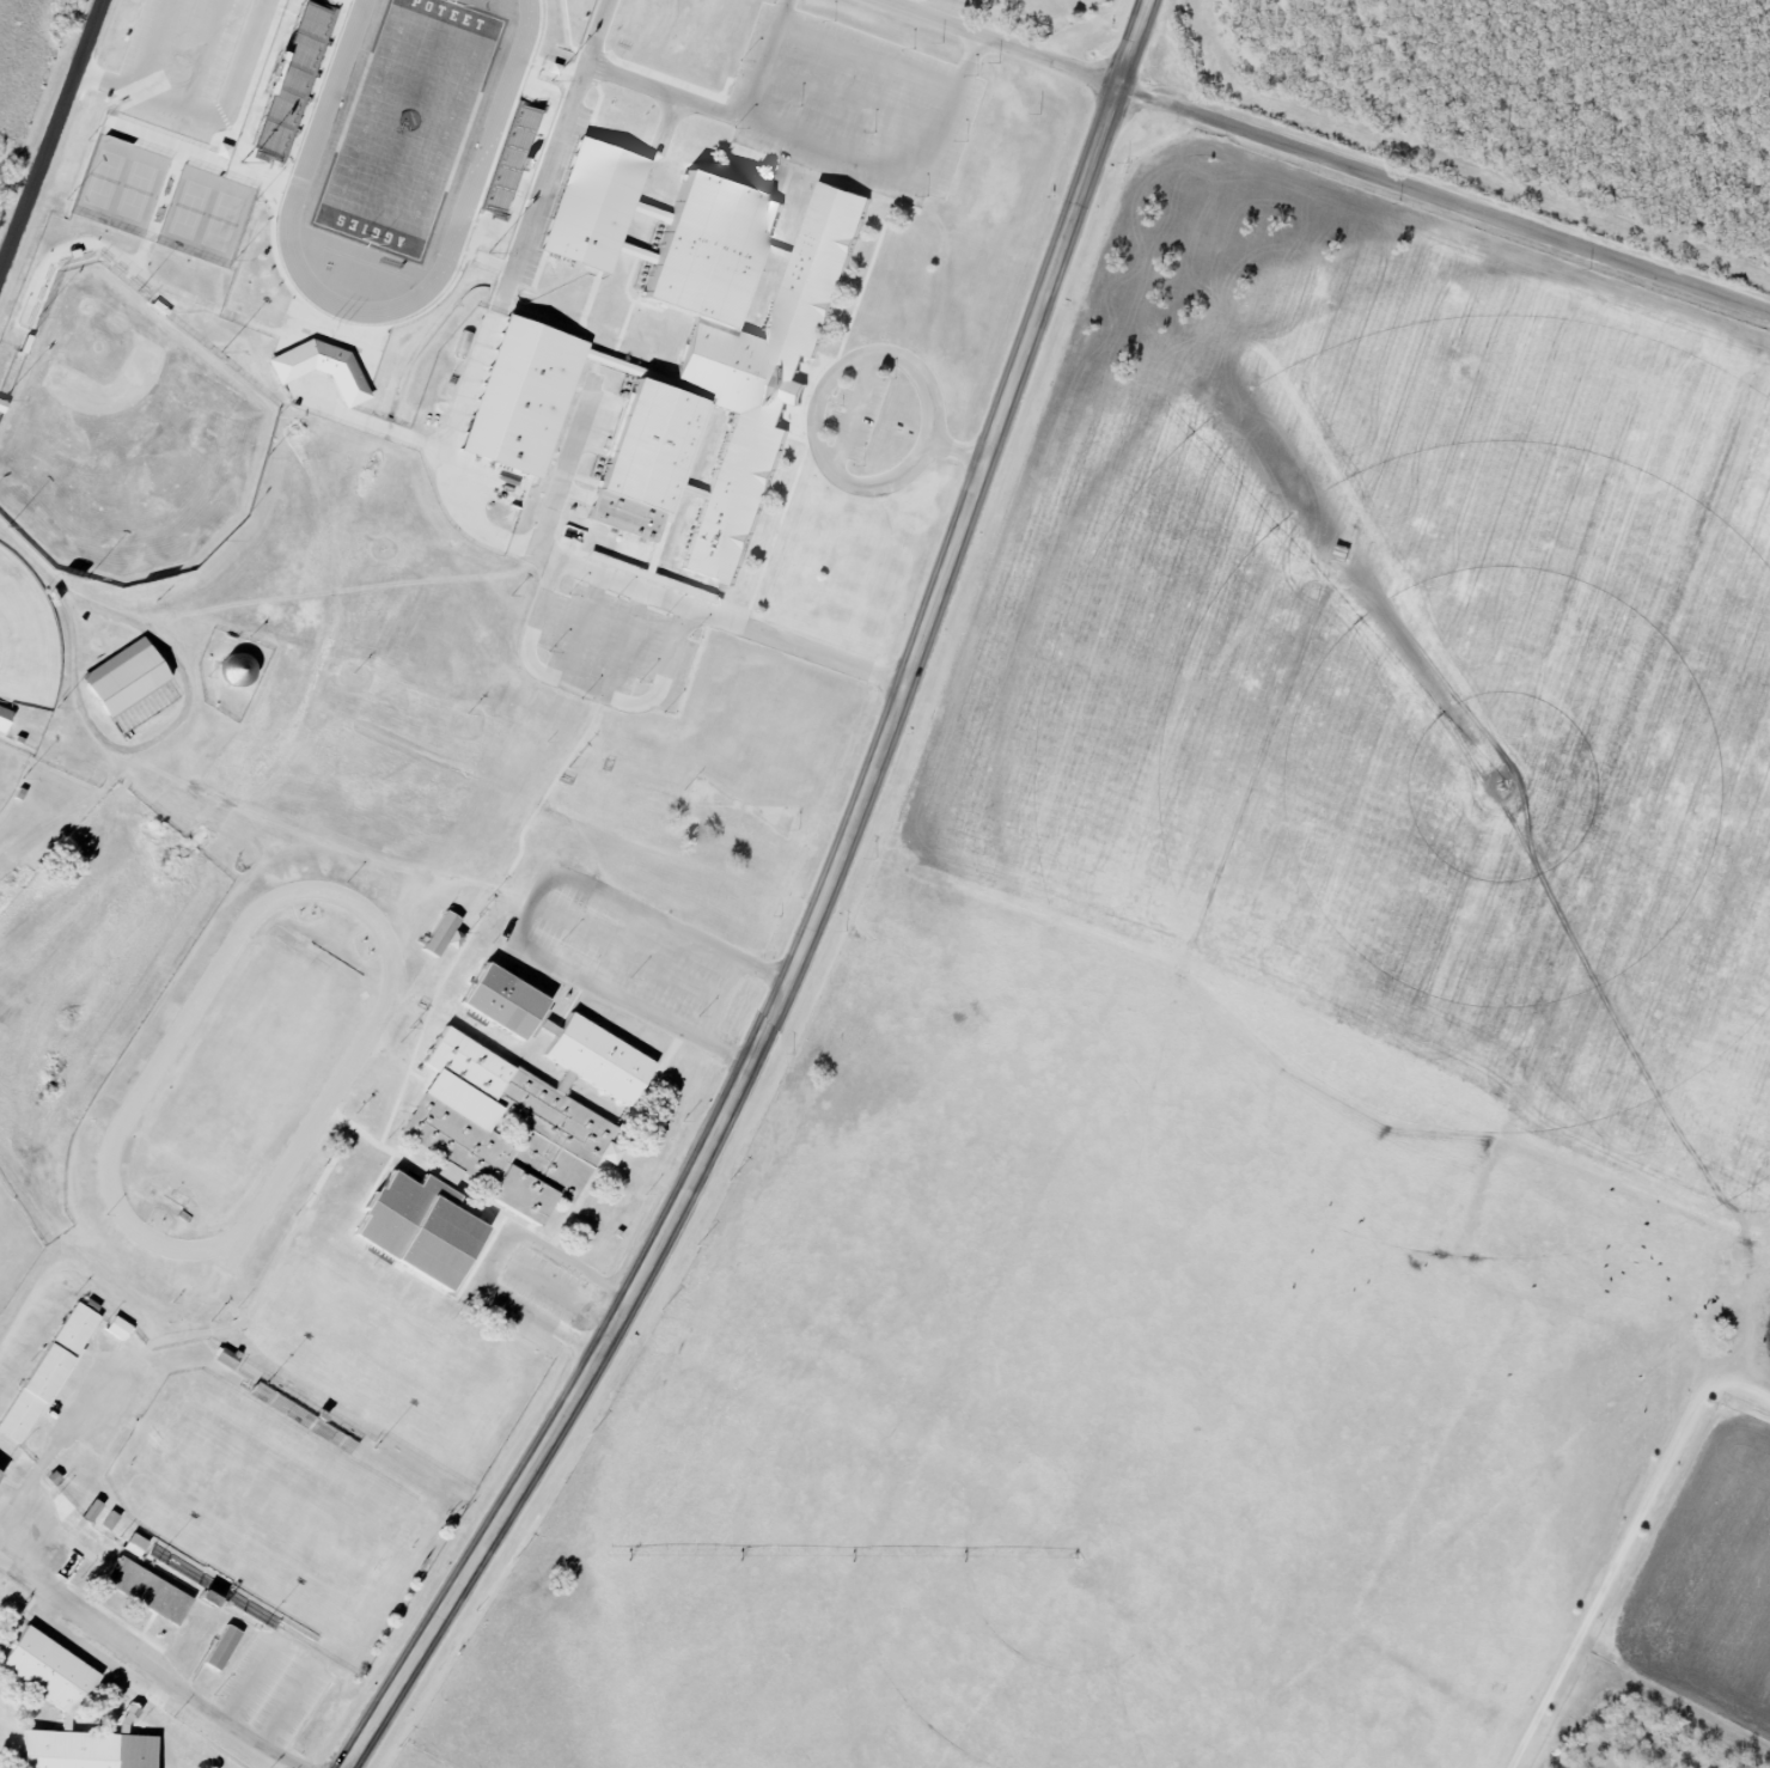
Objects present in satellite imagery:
road: (869, 53)
road: (765, 59)
road: (145, 74)
building: (293, 84)
building: (408, 122)
road: (823, 146)
road: (53, 147)
road: (1318, 148)
park: (163, 195)
building: (588, 200)
building: (640, 254)
building: (317, 361)
building: (721, 365)
road: (829, 377)
building: (525, 400)
road: (855, 415)
road: (566, 470)
road: (453, 481)
road: (32, 560)
building: (240, 670)
building: (129, 676)
road: (584, 691)
building: (5, 718)
road: (164, 736)
road: (536, 904)
road: (819, 916)
building: (445, 934)
road: (621, 949)
road: (629, 951)
building: (500, 994)
road: (721, 1000)
building: (551, 1028)
building: (562, 1110)
building: (415, 1219)
building: (117, 1323)
building: (228, 1358)
building: (45, 1365)
road: (56, 1441)
building: (0, 1469)
park: (273, 1500)
building: (93, 1510)
building: (111, 1520)
building: (136, 1544)
road: (1623, 1547)
building: (175, 1563)
building: (146, 1584)
building: (220, 1641)
road: (144, 1666)
building: (68, 1711)

